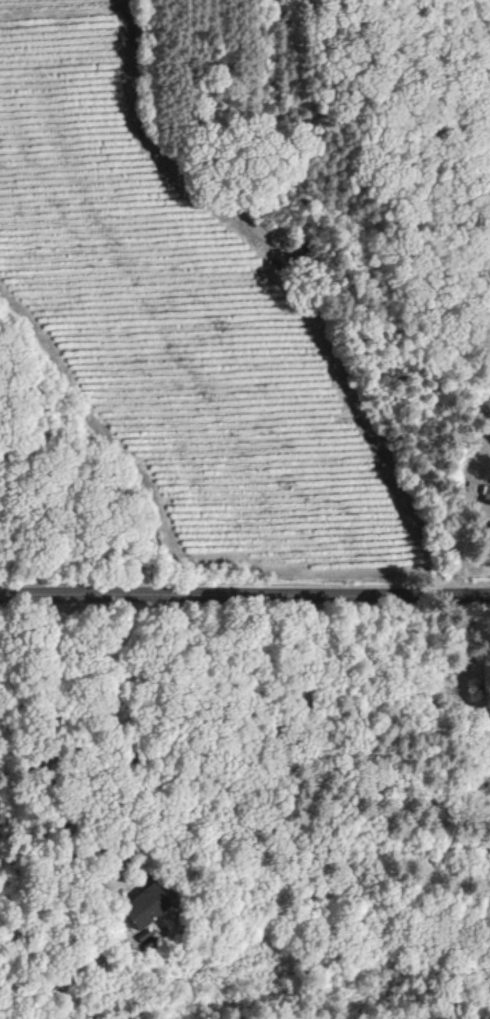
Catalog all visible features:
building: (486, 494)
road: (244, 587)
road: (48, 751)
building: (144, 905)

